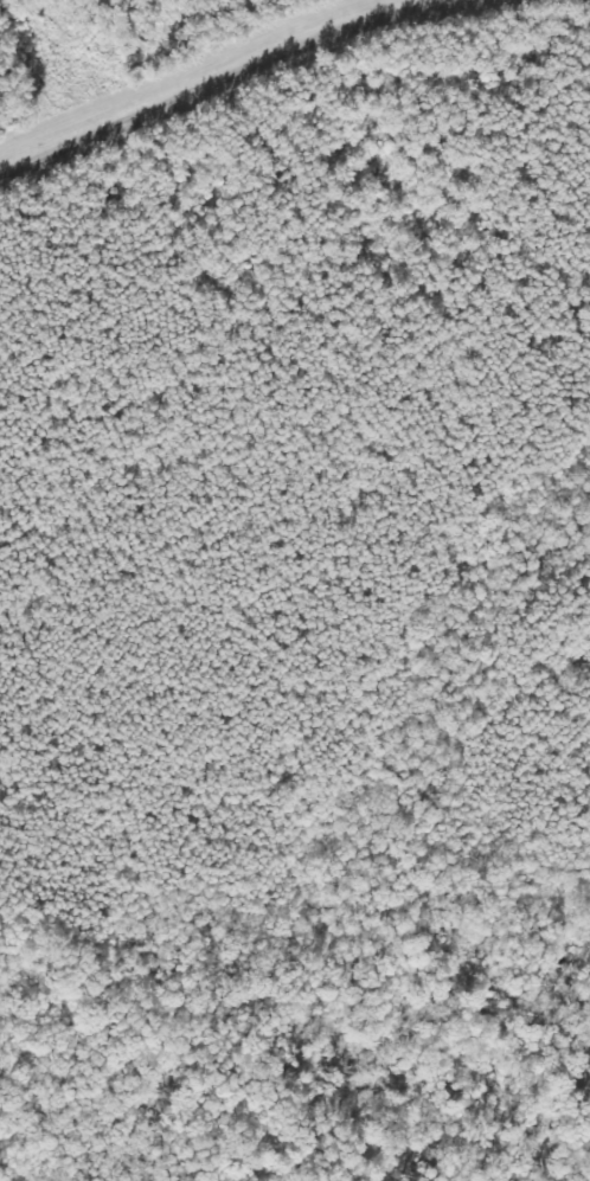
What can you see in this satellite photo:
road: (290, 86)

